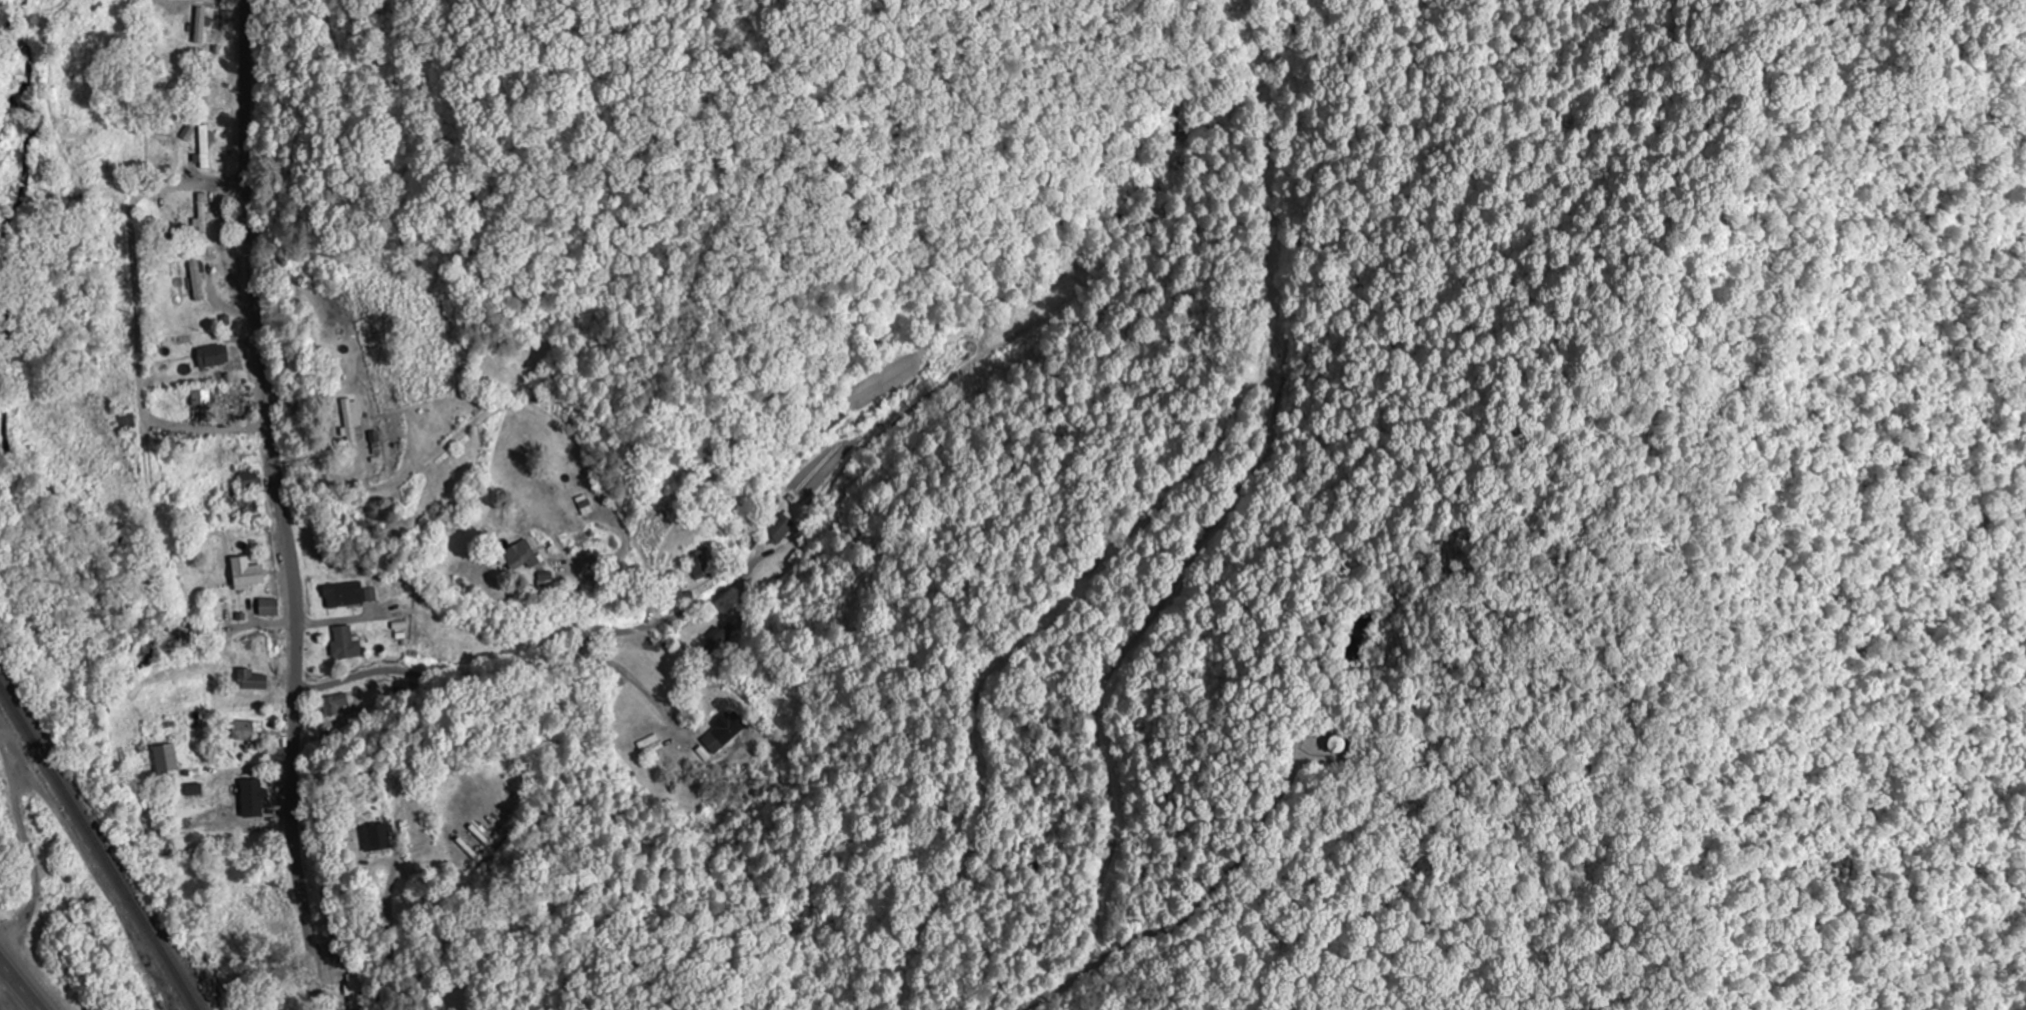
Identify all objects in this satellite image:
building: (203, 215)
road: (136, 316)
building: (213, 357)
building: (201, 399)
building: (351, 420)
building: (249, 481)
road: (283, 505)
building: (781, 529)
building: (519, 557)
building: (702, 564)
building: (246, 575)
building: (344, 596)
building: (269, 609)
building: (345, 645)
road: (536, 666)
building: (251, 682)
building: (337, 707)
building: (248, 732)
building: (724, 732)
building: (1337, 745)
building: (166, 759)
building: (252, 800)
building: (377, 838)
railway: (98, 848)
road: (388, 918)
road: (15, 989)

